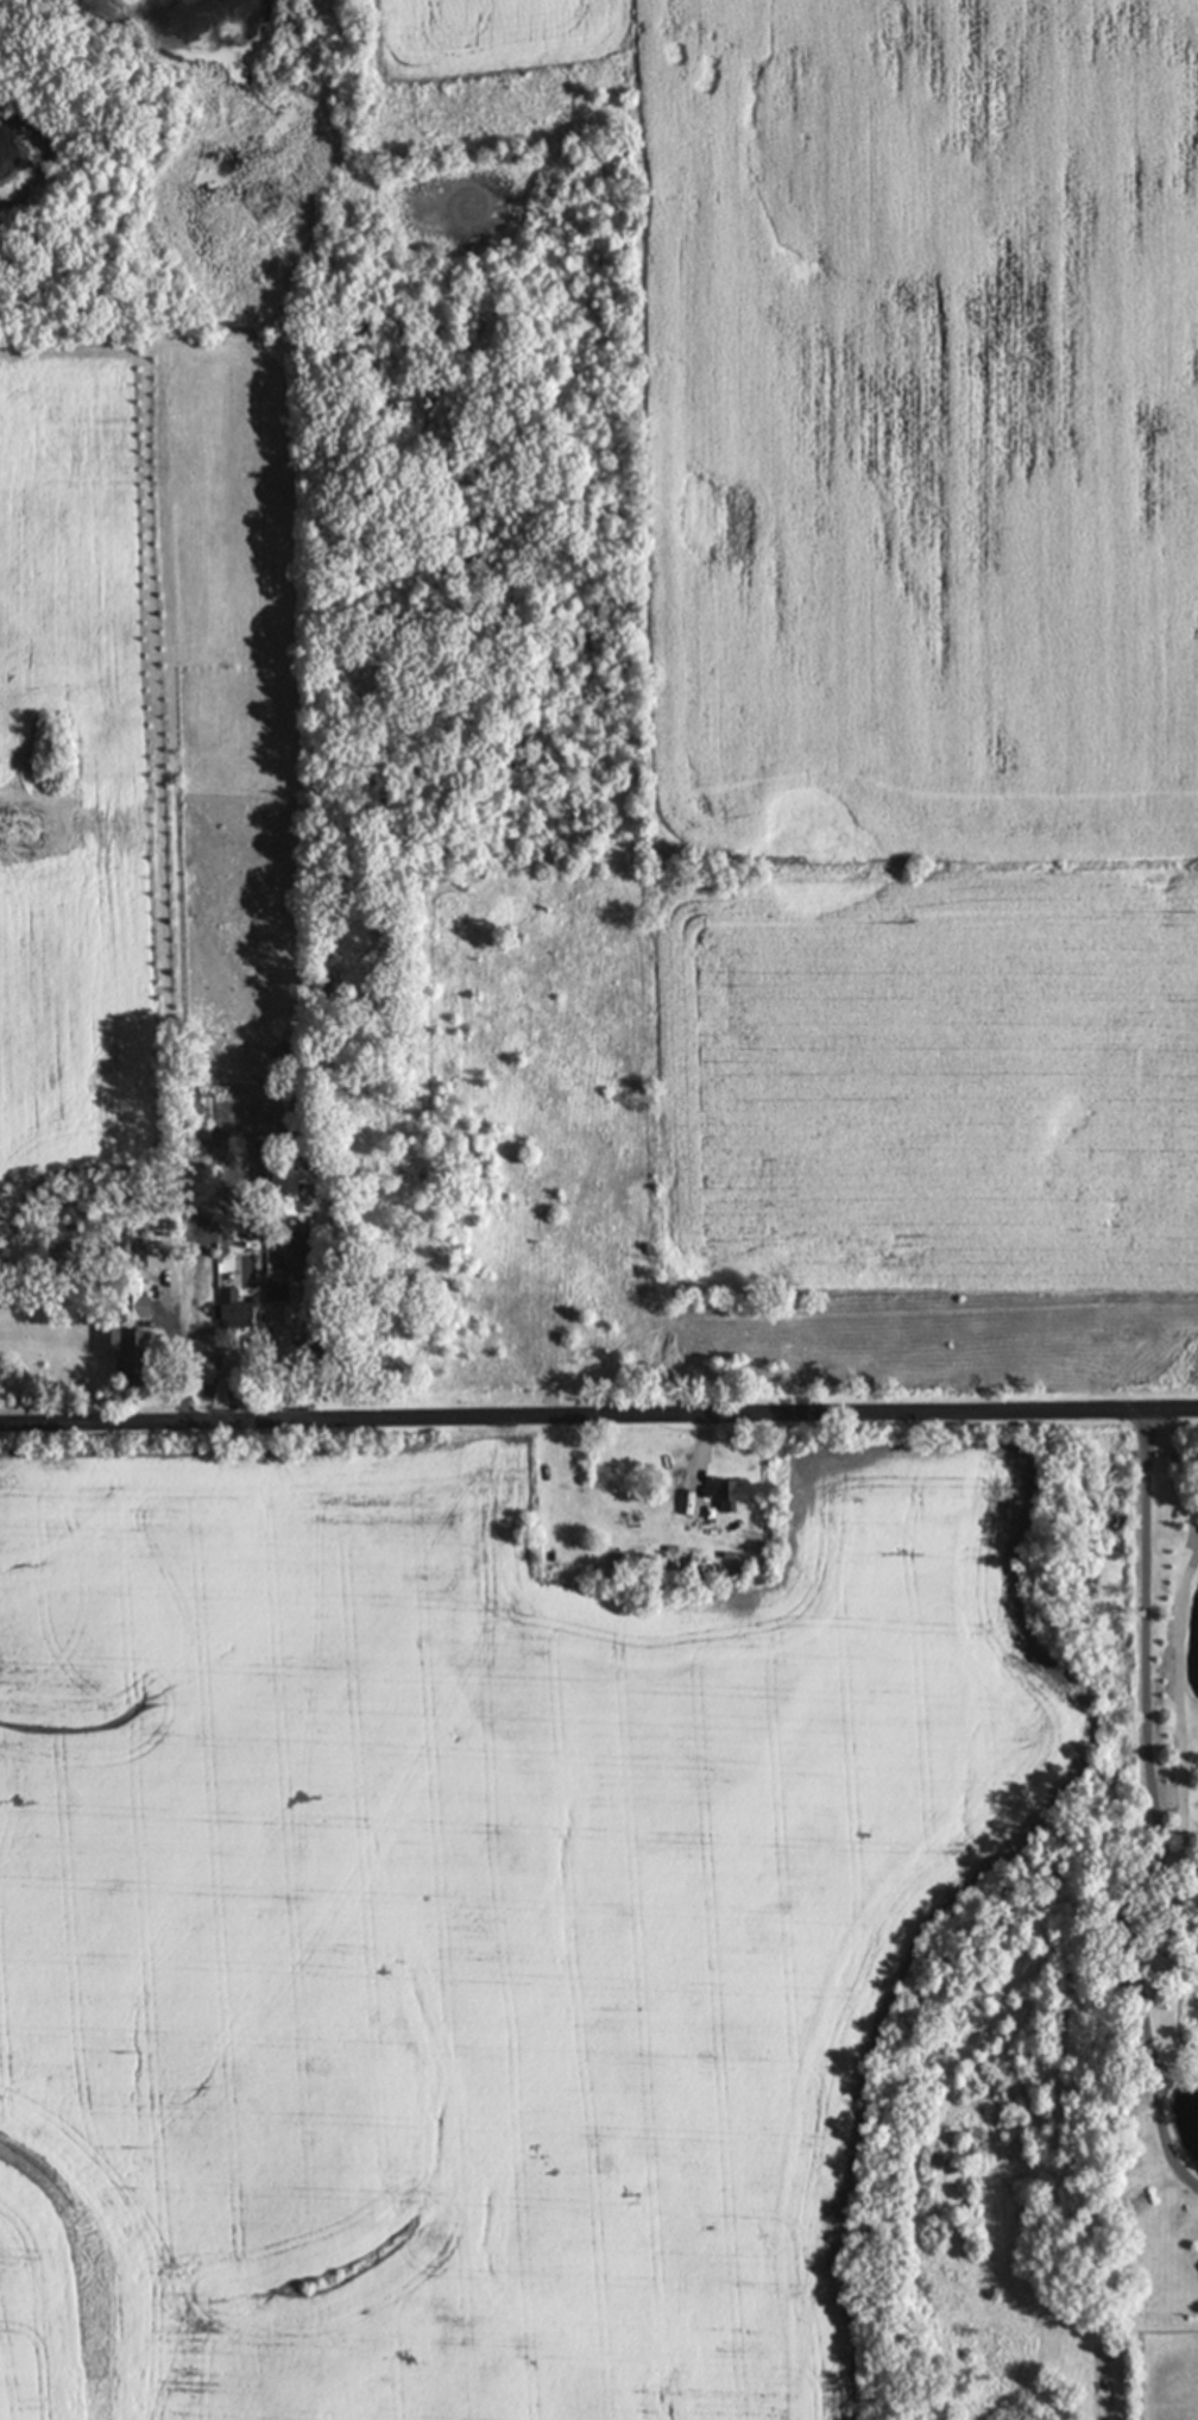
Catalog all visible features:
building: (279, 1192)
building: (272, 1290)
building: (226, 1310)
building: (121, 1351)
road: (599, 1409)
building: (724, 1494)
road: (1184, 1718)
road: (1153, 1796)

